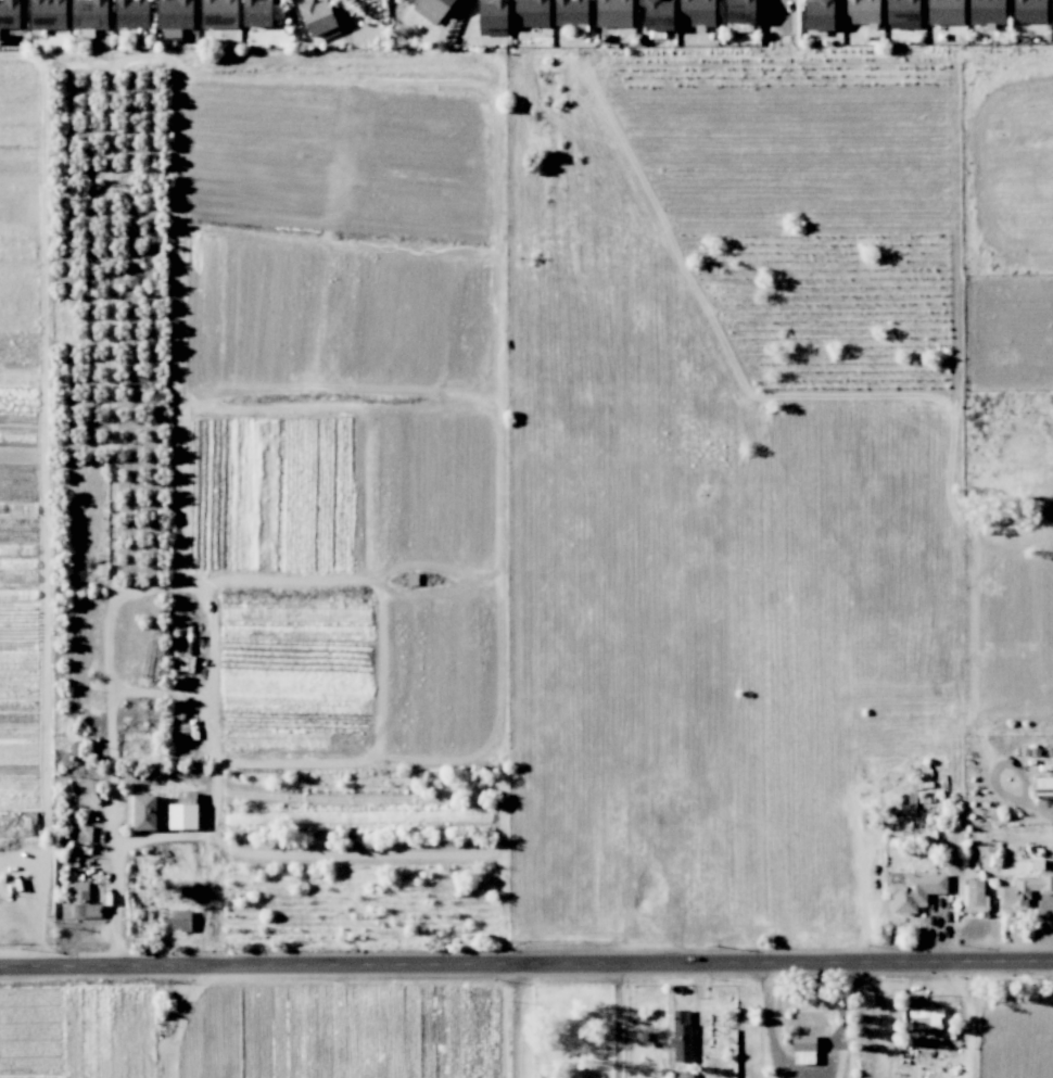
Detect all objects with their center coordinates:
building: (431, 9)
building: (1052, 10)
building: (740, 11)
building: (862, 11)
building: (902, 11)
building: (1029, 11)
building: (570, 12)
building: (696, 12)
building: (944, 12)
building: (986, 12)
building: (9, 13)
building: (131, 13)
building: (218, 13)
building: (256, 13)
building: (531, 13)
building: (613, 13)
building: (47, 14)
building: (89, 14)
building: (657, 14)
building: (819, 14)
building: (317, 16)
road: (779, 16)
building: (174, 17)
building: (492, 17)
road: (142, 589)
building: (1043, 788)
building: (141, 812)
building: (84, 834)
building: (913, 890)
building: (1024, 890)
building: (974, 897)
building: (83, 902)
building: (180, 920)
road: (525, 961)
road: (969, 1014)
building: (924, 1016)
road: (523, 1018)
road: (620, 1018)
road: (772, 1018)
building: (682, 1035)
building: (803, 1049)

